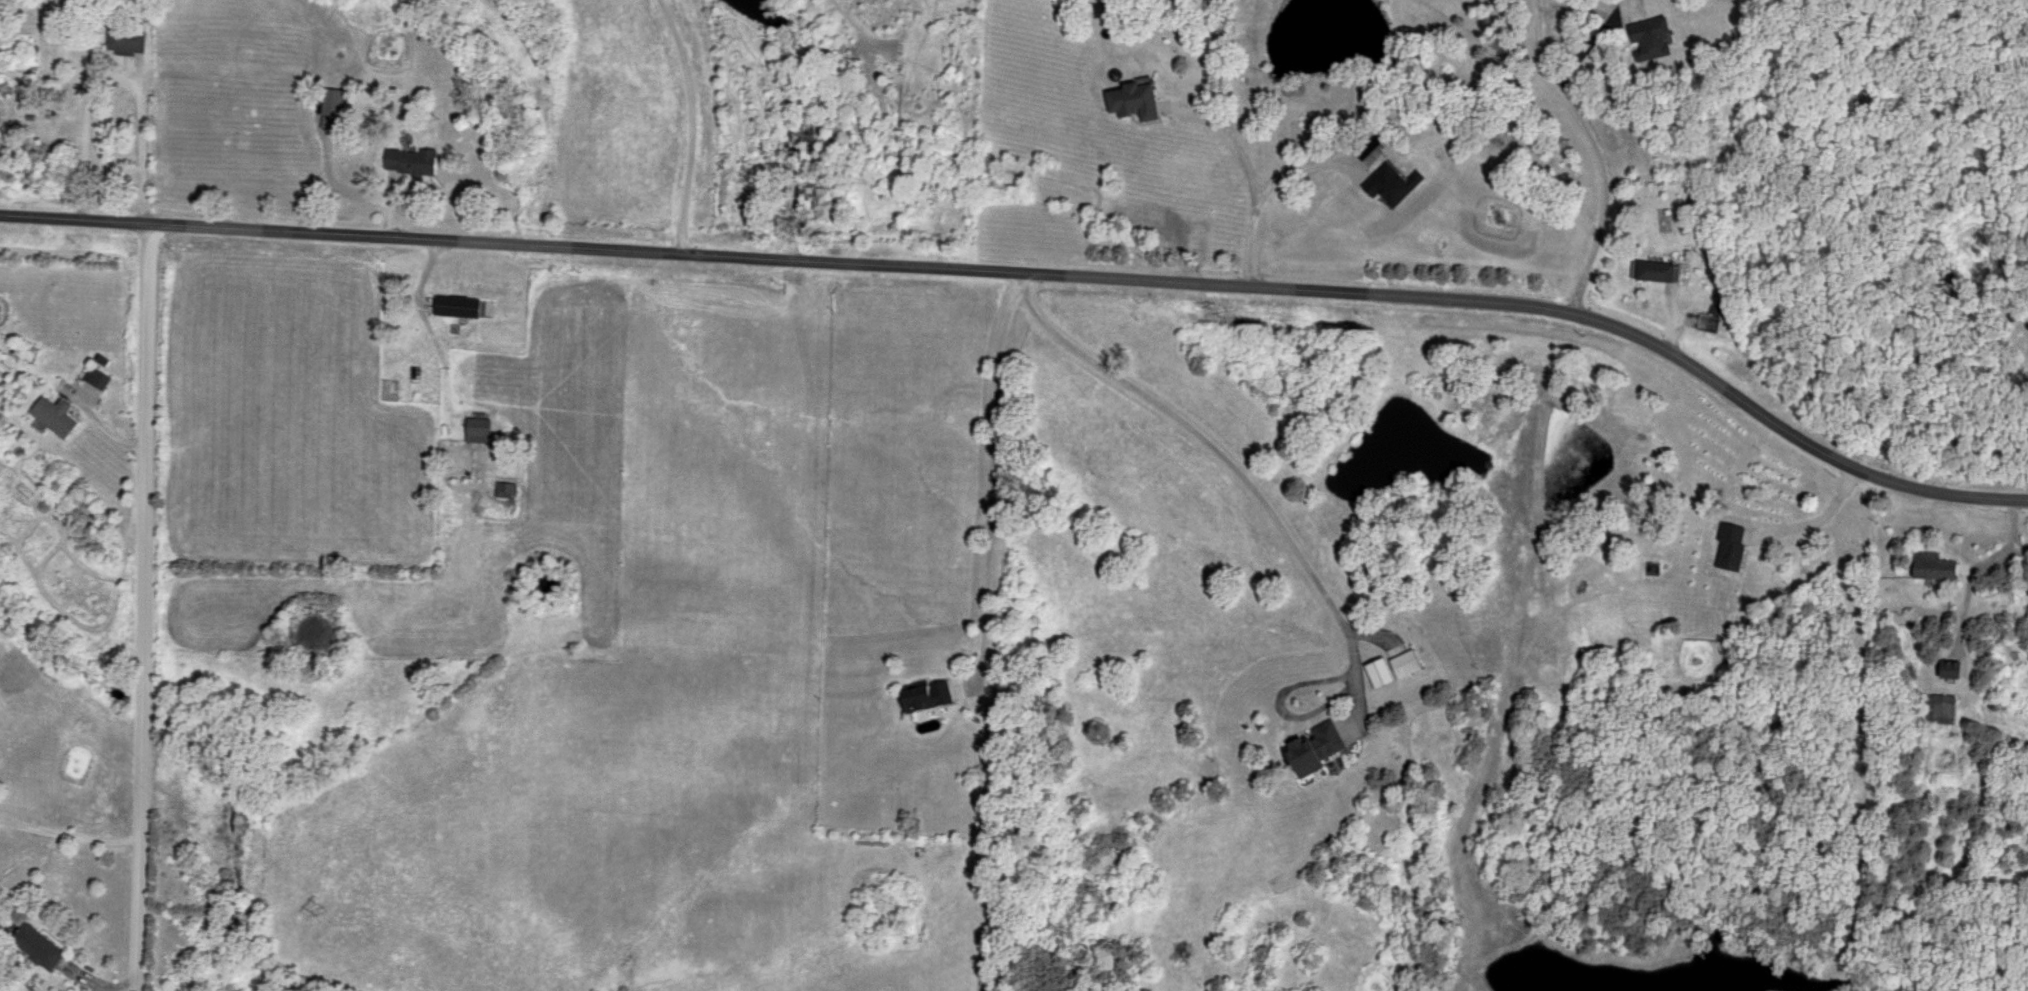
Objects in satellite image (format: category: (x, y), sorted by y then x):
road: (1597, 27)
building: (1652, 38)
building: (127, 41)
building: (2027, 72)
road: (114, 75)
building: (333, 102)
road: (685, 124)
road: (1587, 152)
building: (411, 161)
road: (1293, 172)
road: (1245, 179)
road: (353, 192)
building: (825, 203)
building: (1658, 271)
road: (1037, 274)
building: (458, 307)
building: (1710, 323)
building: (55, 416)
building: (478, 430)
road: (1227, 465)
building: (505, 490)
road: (986, 492)
road: (1815, 517)
building: (1732, 546)
building: (1936, 566)
road: (139, 606)
building: (1406, 664)
building: (1954, 669)
building: (928, 697)
building: (1940, 709)
building: (1318, 747)
road: (68, 834)
power tower: (319, 912)
building: (37, 947)

